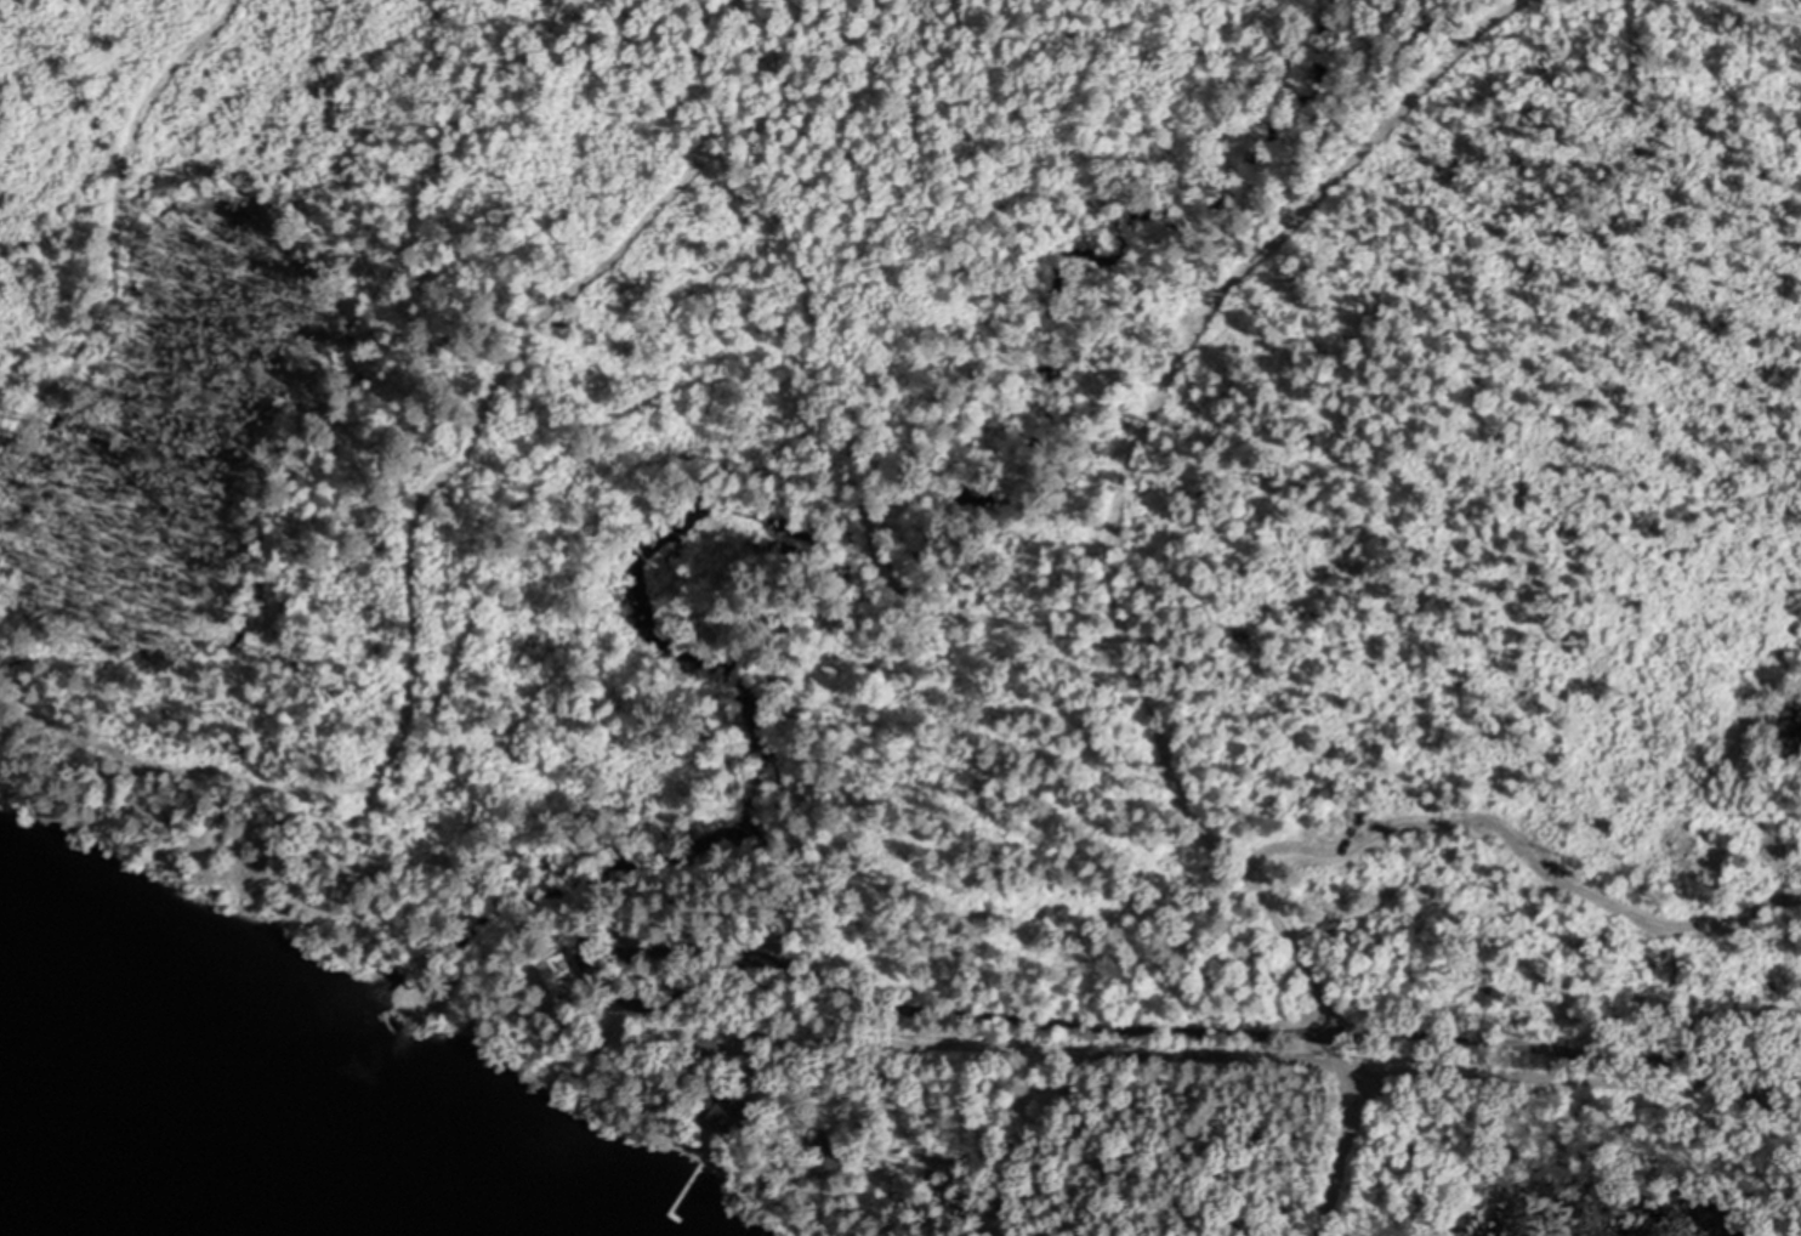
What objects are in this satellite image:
building: (561, 975)
road: (1574, 1015)
road: (1134, 1059)
building: (743, 1123)
building: (830, 1157)
road: (1336, 1160)

